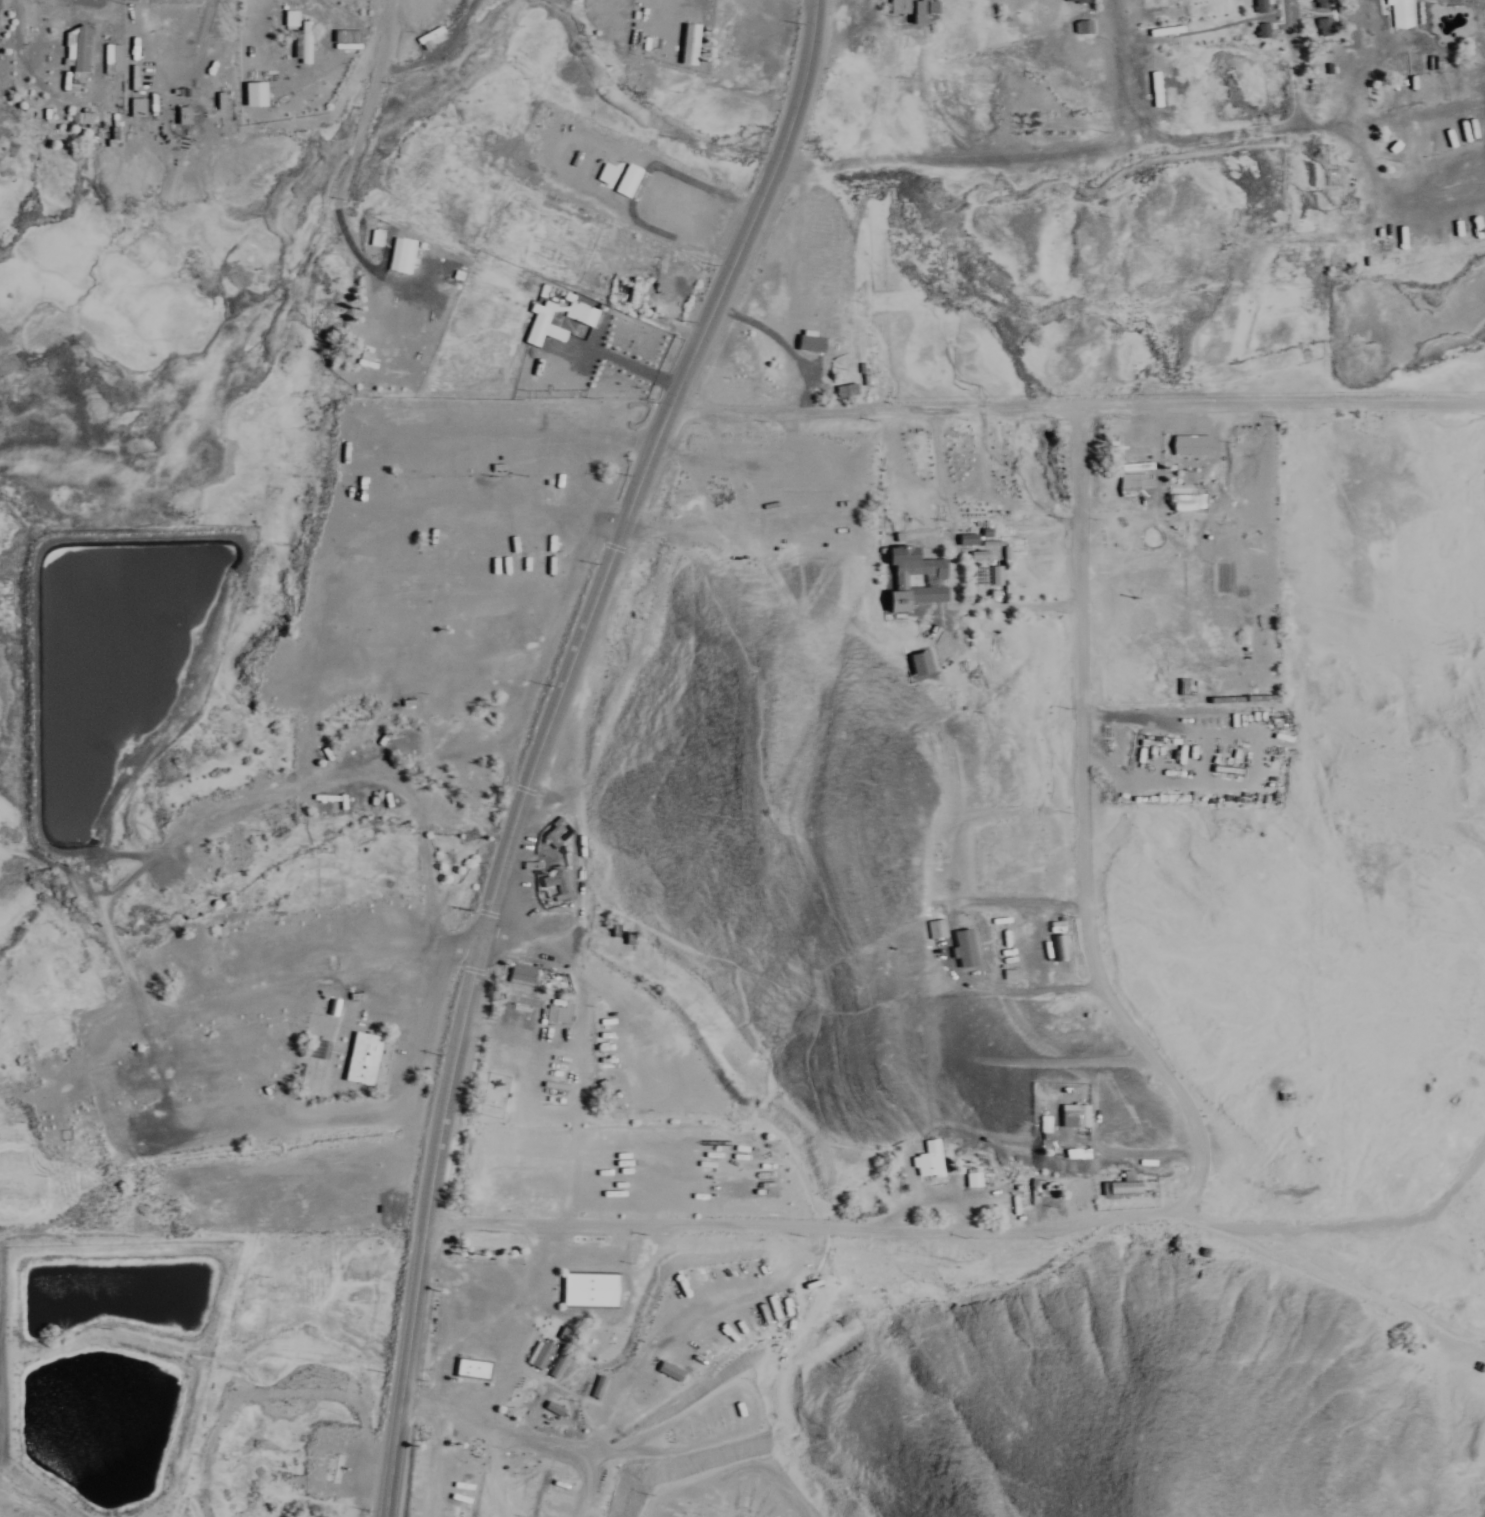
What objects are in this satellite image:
building: (1081, 1)
building: (1323, 3)
building: (1254, 4)
building: (1262, 6)
building: (914, 8)
building: (1401, 12)
building: (280, 13)
building: (1257, 23)
building: (1084, 25)
building: (1326, 27)
building: (1165, 29)
building: (427, 35)
building: (294, 37)
building: (339, 39)
building: (683, 41)
building: (69, 42)
building: (306, 42)
building: (692, 44)
building: (82, 48)
building: (102, 52)
building: (116, 58)
road: (1118, 68)
road: (806, 79)
building: (243, 88)
building: (1155, 88)
building: (259, 94)
building: (209, 95)
building: (126, 102)
road: (364, 102)
building: (141, 107)
building: (172, 109)
road: (1391, 113)
road: (1273, 119)
building: (86, 120)
building: (105, 128)
building: (617, 176)
building: (380, 238)
building: (398, 252)
building: (626, 285)
building: (572, 308)
building: (533, 320)
building: (805, 339)
building: (369, 360)
building: (846, 388)
road: (1072, 408)
building: (1192, 444)
building: (1115, 450)
building: (1137, 465)
building: (1138, 486)
building: (558, 492)
building: (1188, 500)
road: (477, 517)
road: (608, 519)
building: (986, 531)
building: (968, 538)
building: (992, 541)
road: (611, 545)
building: (1006, 553)
building: (978, 554)
building: (997, 573)
building: (914, 577)
road: (561, 593)
road: (447, 597)
road: (589, 603)
building: (920, 662)
road: (411, 667)
building: (1187, 685)
building: (1262, 696)
building: (1226, 698)
road: (311, 736)
building: (1227, 768)
road: (373, 770)
park: (386, 810)
road: (1084, 829)
building: (555, 831)
building: (556, 883)
road: (484, 914)
building: (937, 928)
road: (513, 937)
road: (117, 938)
building: (1059, 945)
road: (456, 946)
building: (963, 948)
road: (948, 949)
building: (1065, 949)
road: (476, 970)
building: (523, 972)
building: (1011, 972)
road: (294, 982)
building: (523, 1001)
building: (558, 1010)
building: (364, 1057)
road: (224, 1058)
road: (405, 1064)
road: (579, 1071)
road: (268, 1080)
building: (497, 1085)
parking lot: (1113, 1109)
building: (1076, 1112)
road: (351, 1117)
building: (1042, 1123)
building: (1073, 1152)
road: (1127, 1152)
building: (930, 1159)
building: (973, 1178)
building: (1126, 1184)
road: (1167, 1186)
building: (615, 1207)
road: (974, 1233)
building: (1206, 1251)
road: (1338, 1287)
building: (592, 1290)
road: (416, 1294)
road: (682, 1311)
road: (522, 1326)
building: (539, 1355)
building: (557, 1366)
building: (474, 1369)
building: (669, 1369)
building: (600, 1386)
building: (555, 1410)
road: (668, 1416)
road: (496, 1432)
road: (437, 1466)
road: (759, 1468)
road: (502, 1475)
road: (587, 1487)
road: (20, 1505)

